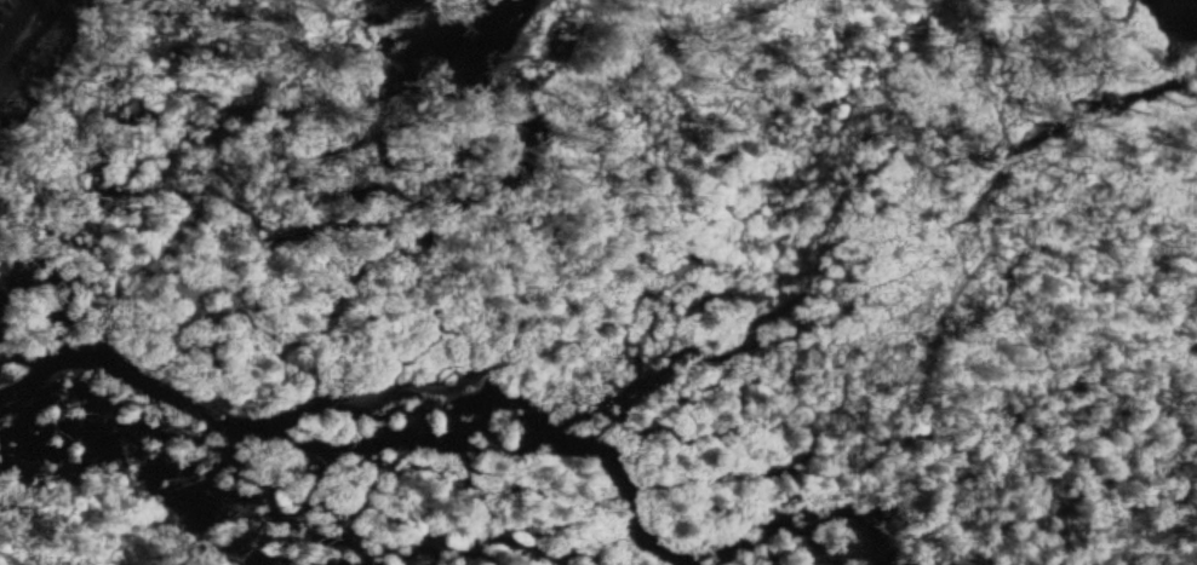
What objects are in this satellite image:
river: (8, 12)
river: (1172, 21)
river: (441, 45)

